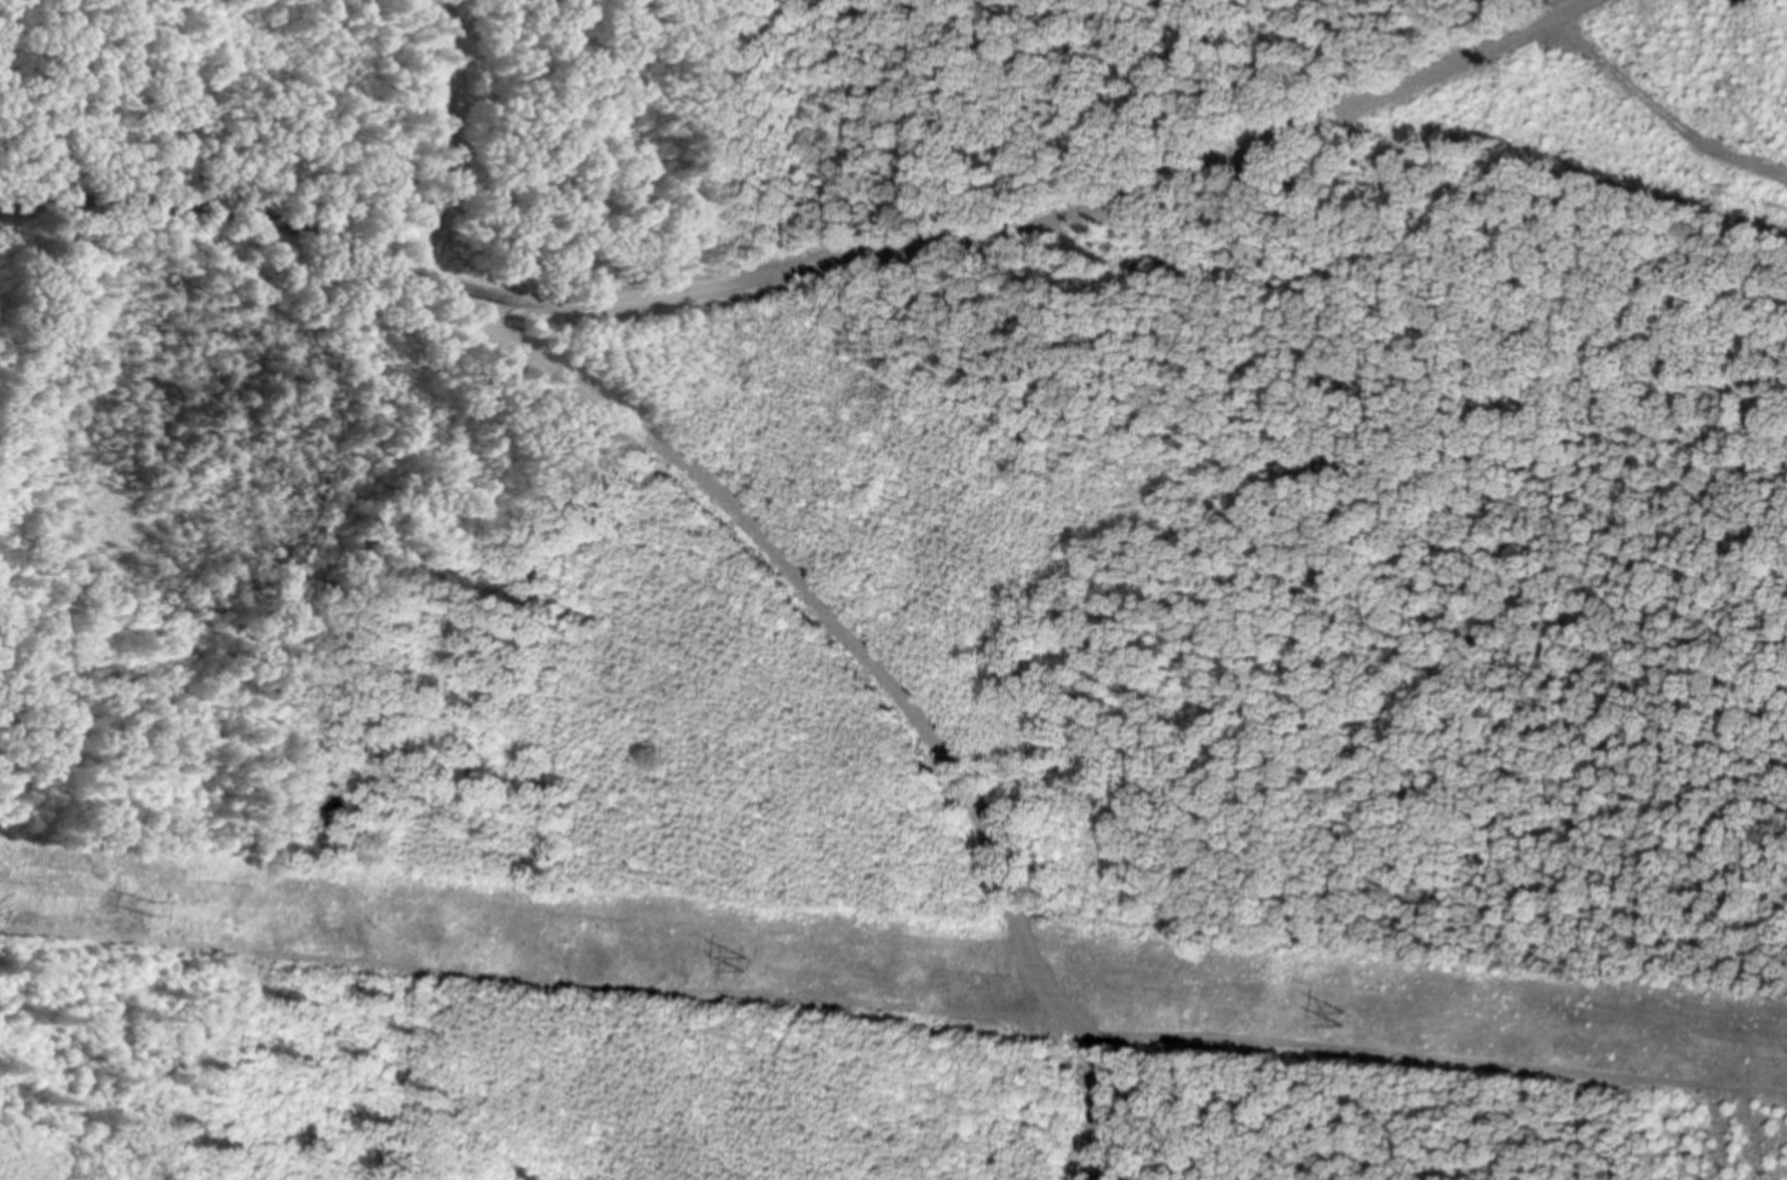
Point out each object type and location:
road: (814, 269)
road: (887, 681)
power tower: (162, 913)
power tower: (741, 962)
power tower: (1367, 1023)

